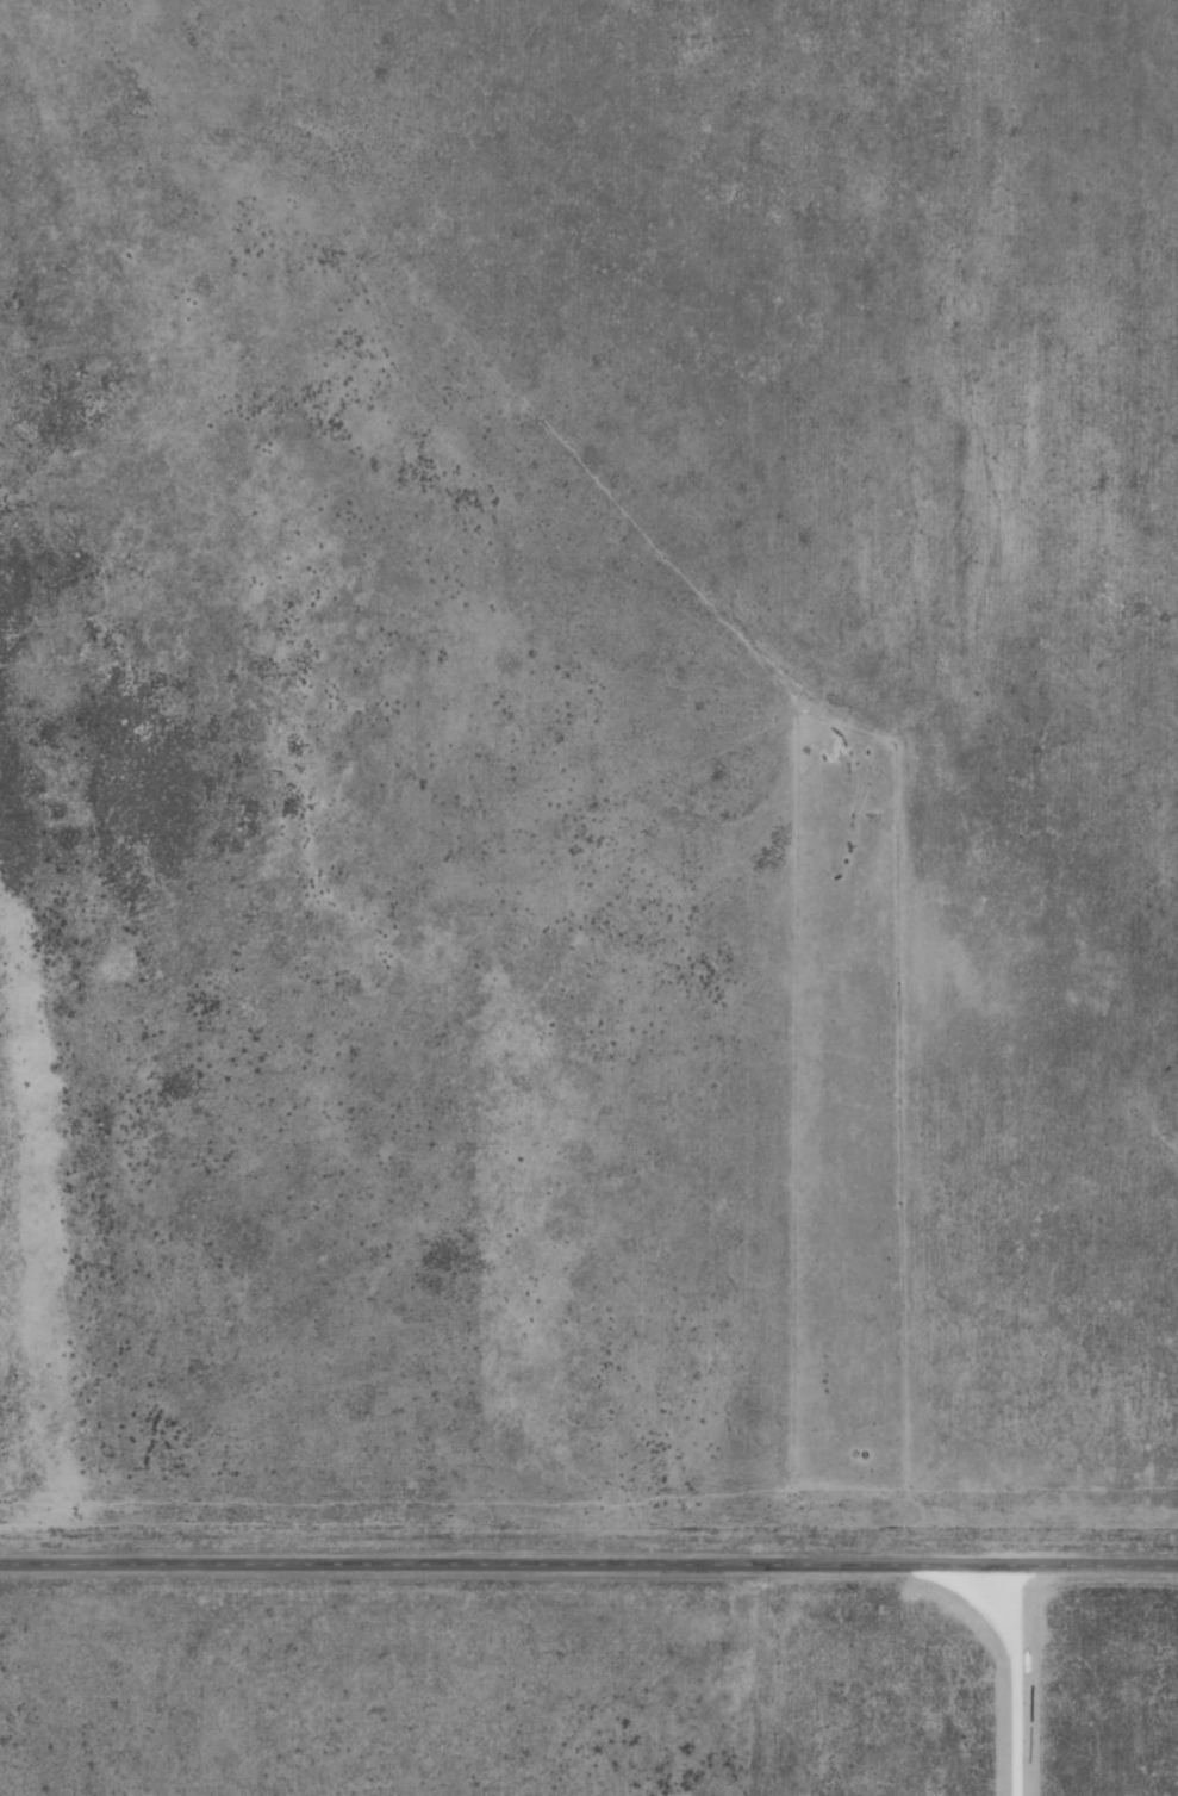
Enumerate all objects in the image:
road: (588, 1568)

